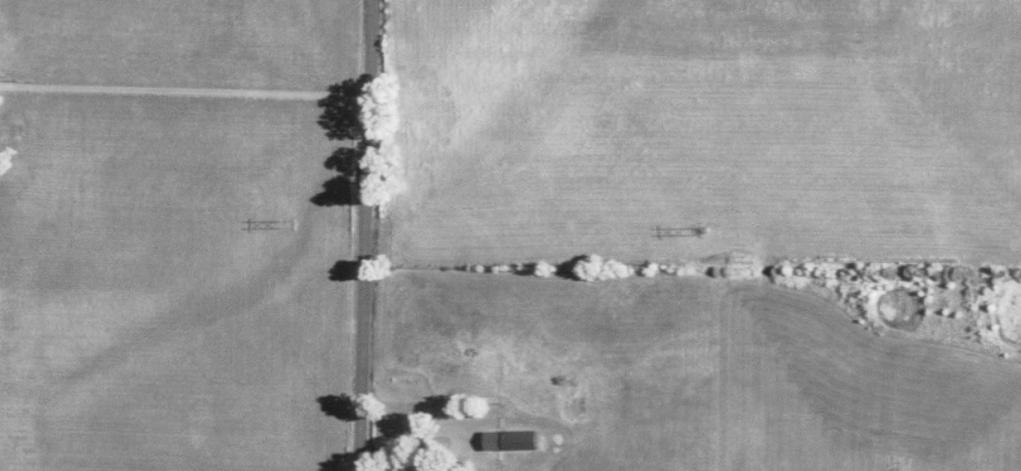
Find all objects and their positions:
road: (182, 88)
power tower: (293, 221)
power tower: (700, 231)
road: (364, 235)
building: (512, 440)

